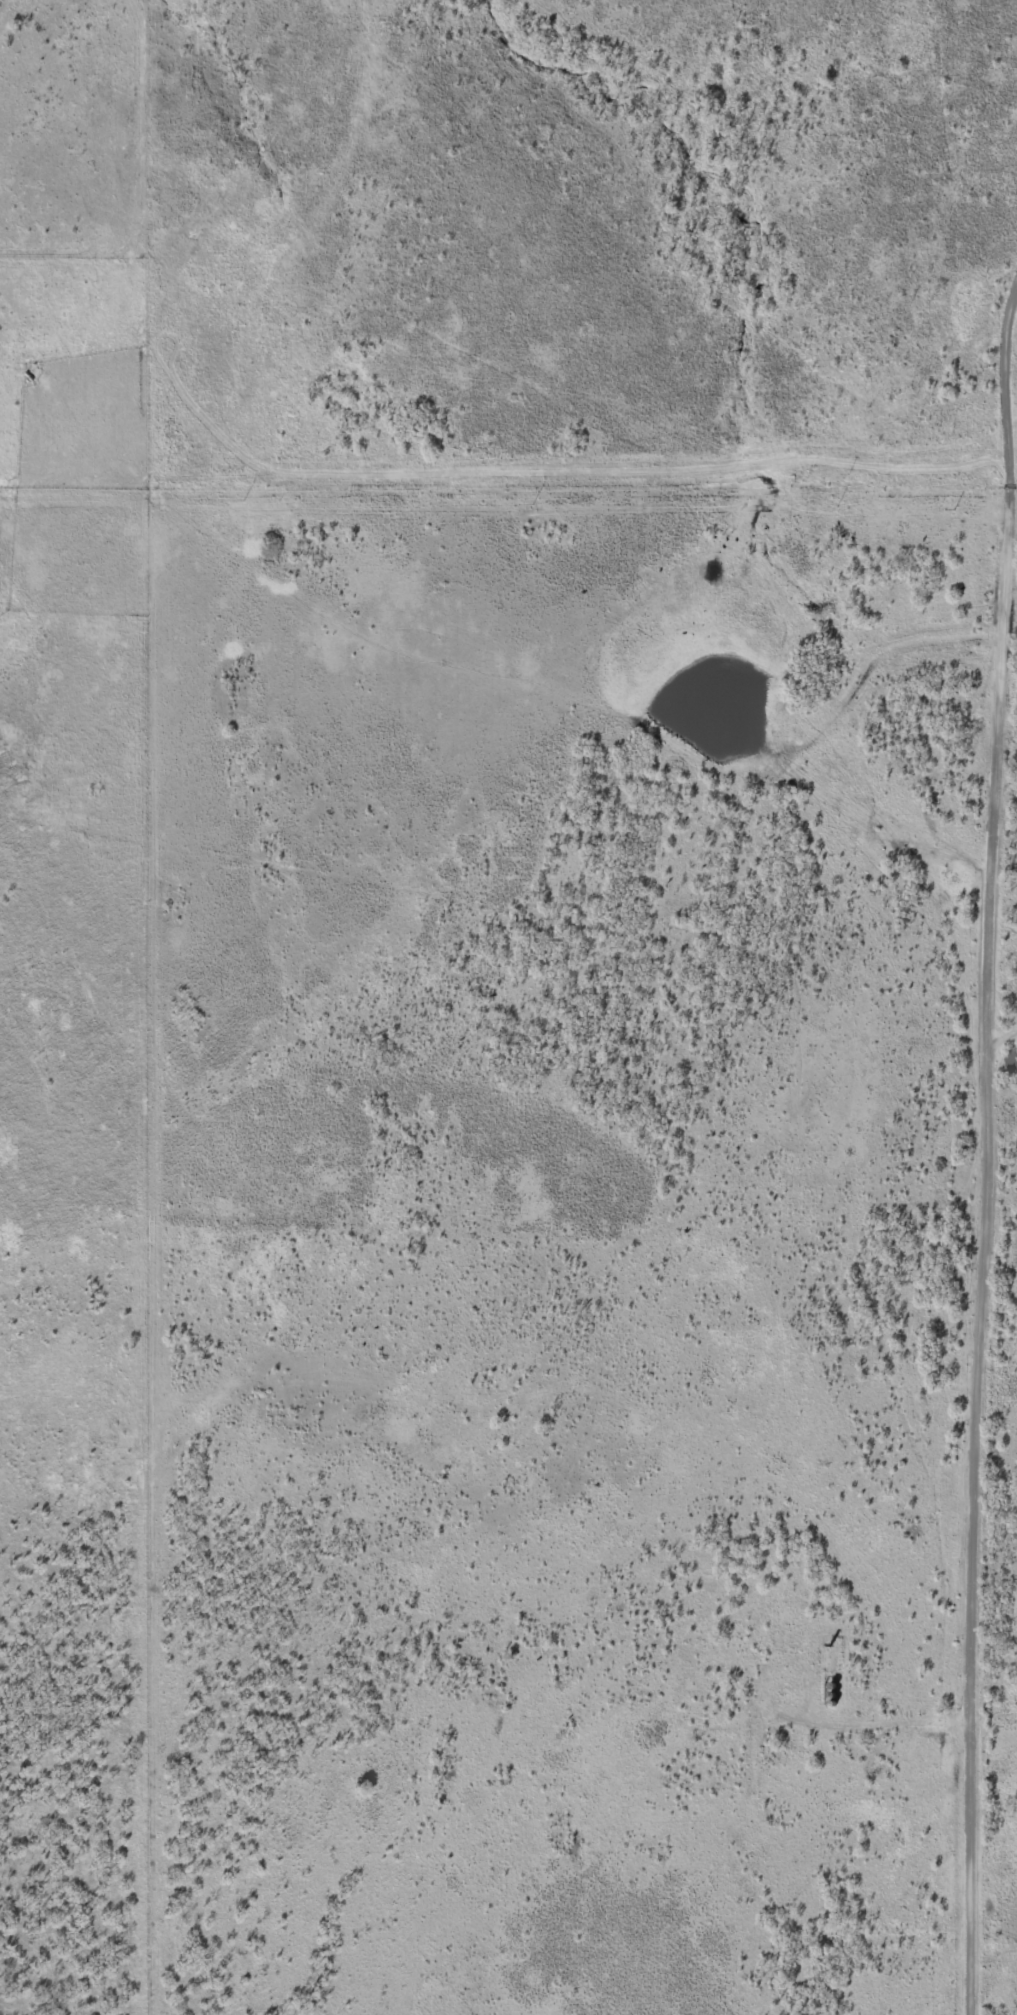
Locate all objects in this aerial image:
road: (585, 273)
road: (979, 1163)

